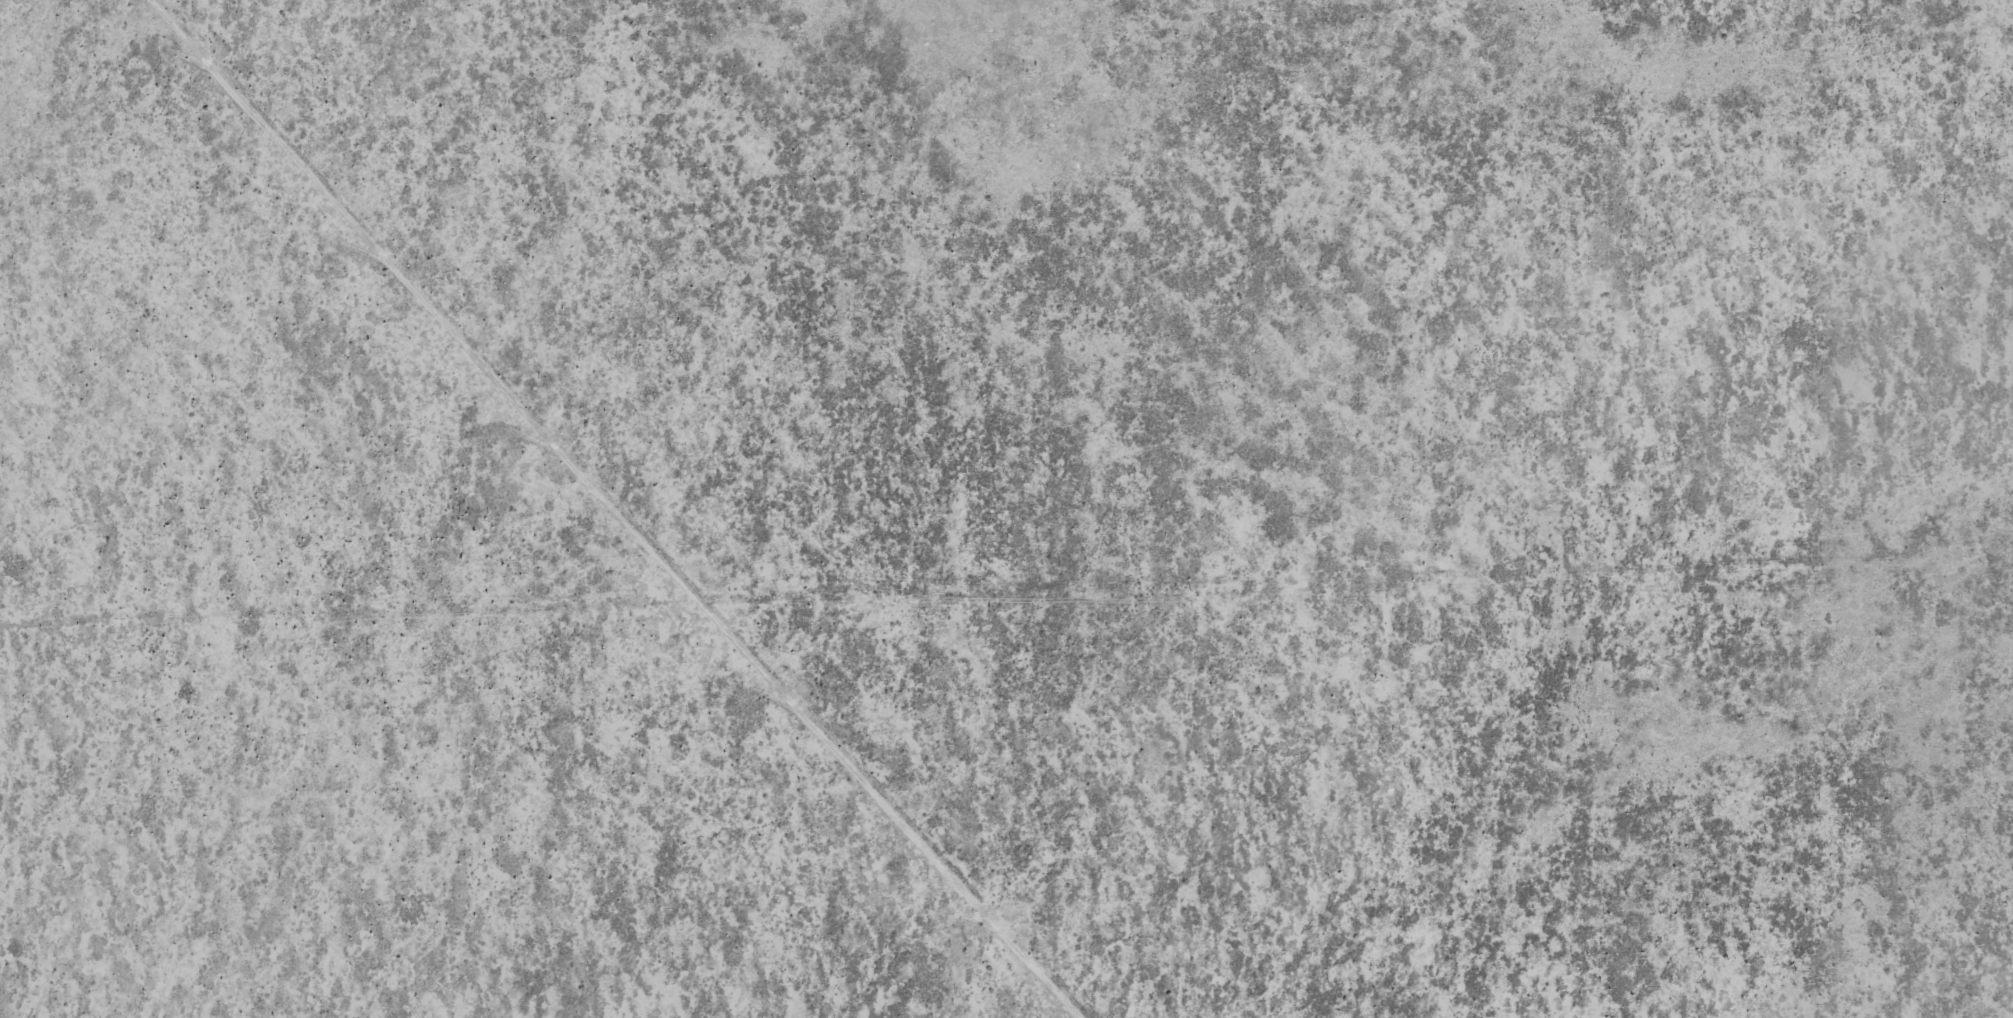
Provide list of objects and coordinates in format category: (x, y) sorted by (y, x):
road: (573, 509)

